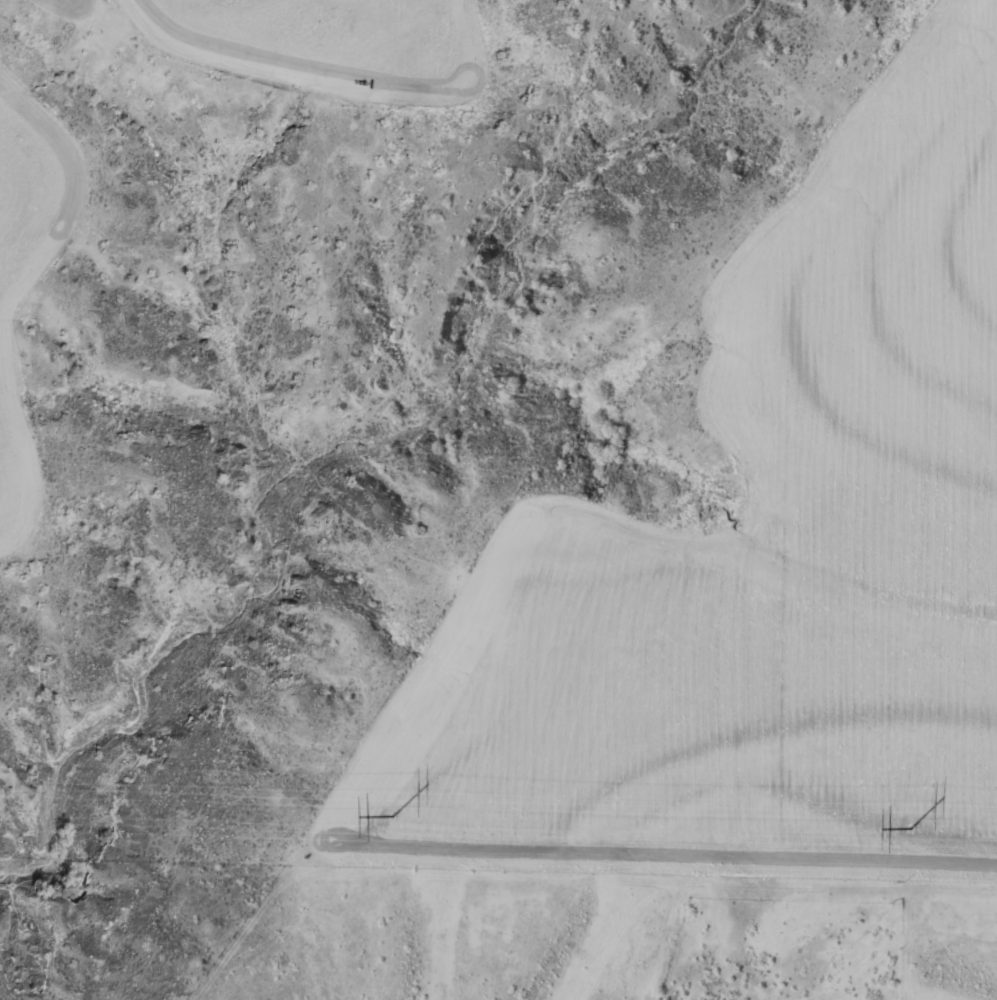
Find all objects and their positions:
power tower: (394, 815)
power tower: (913, 827)

